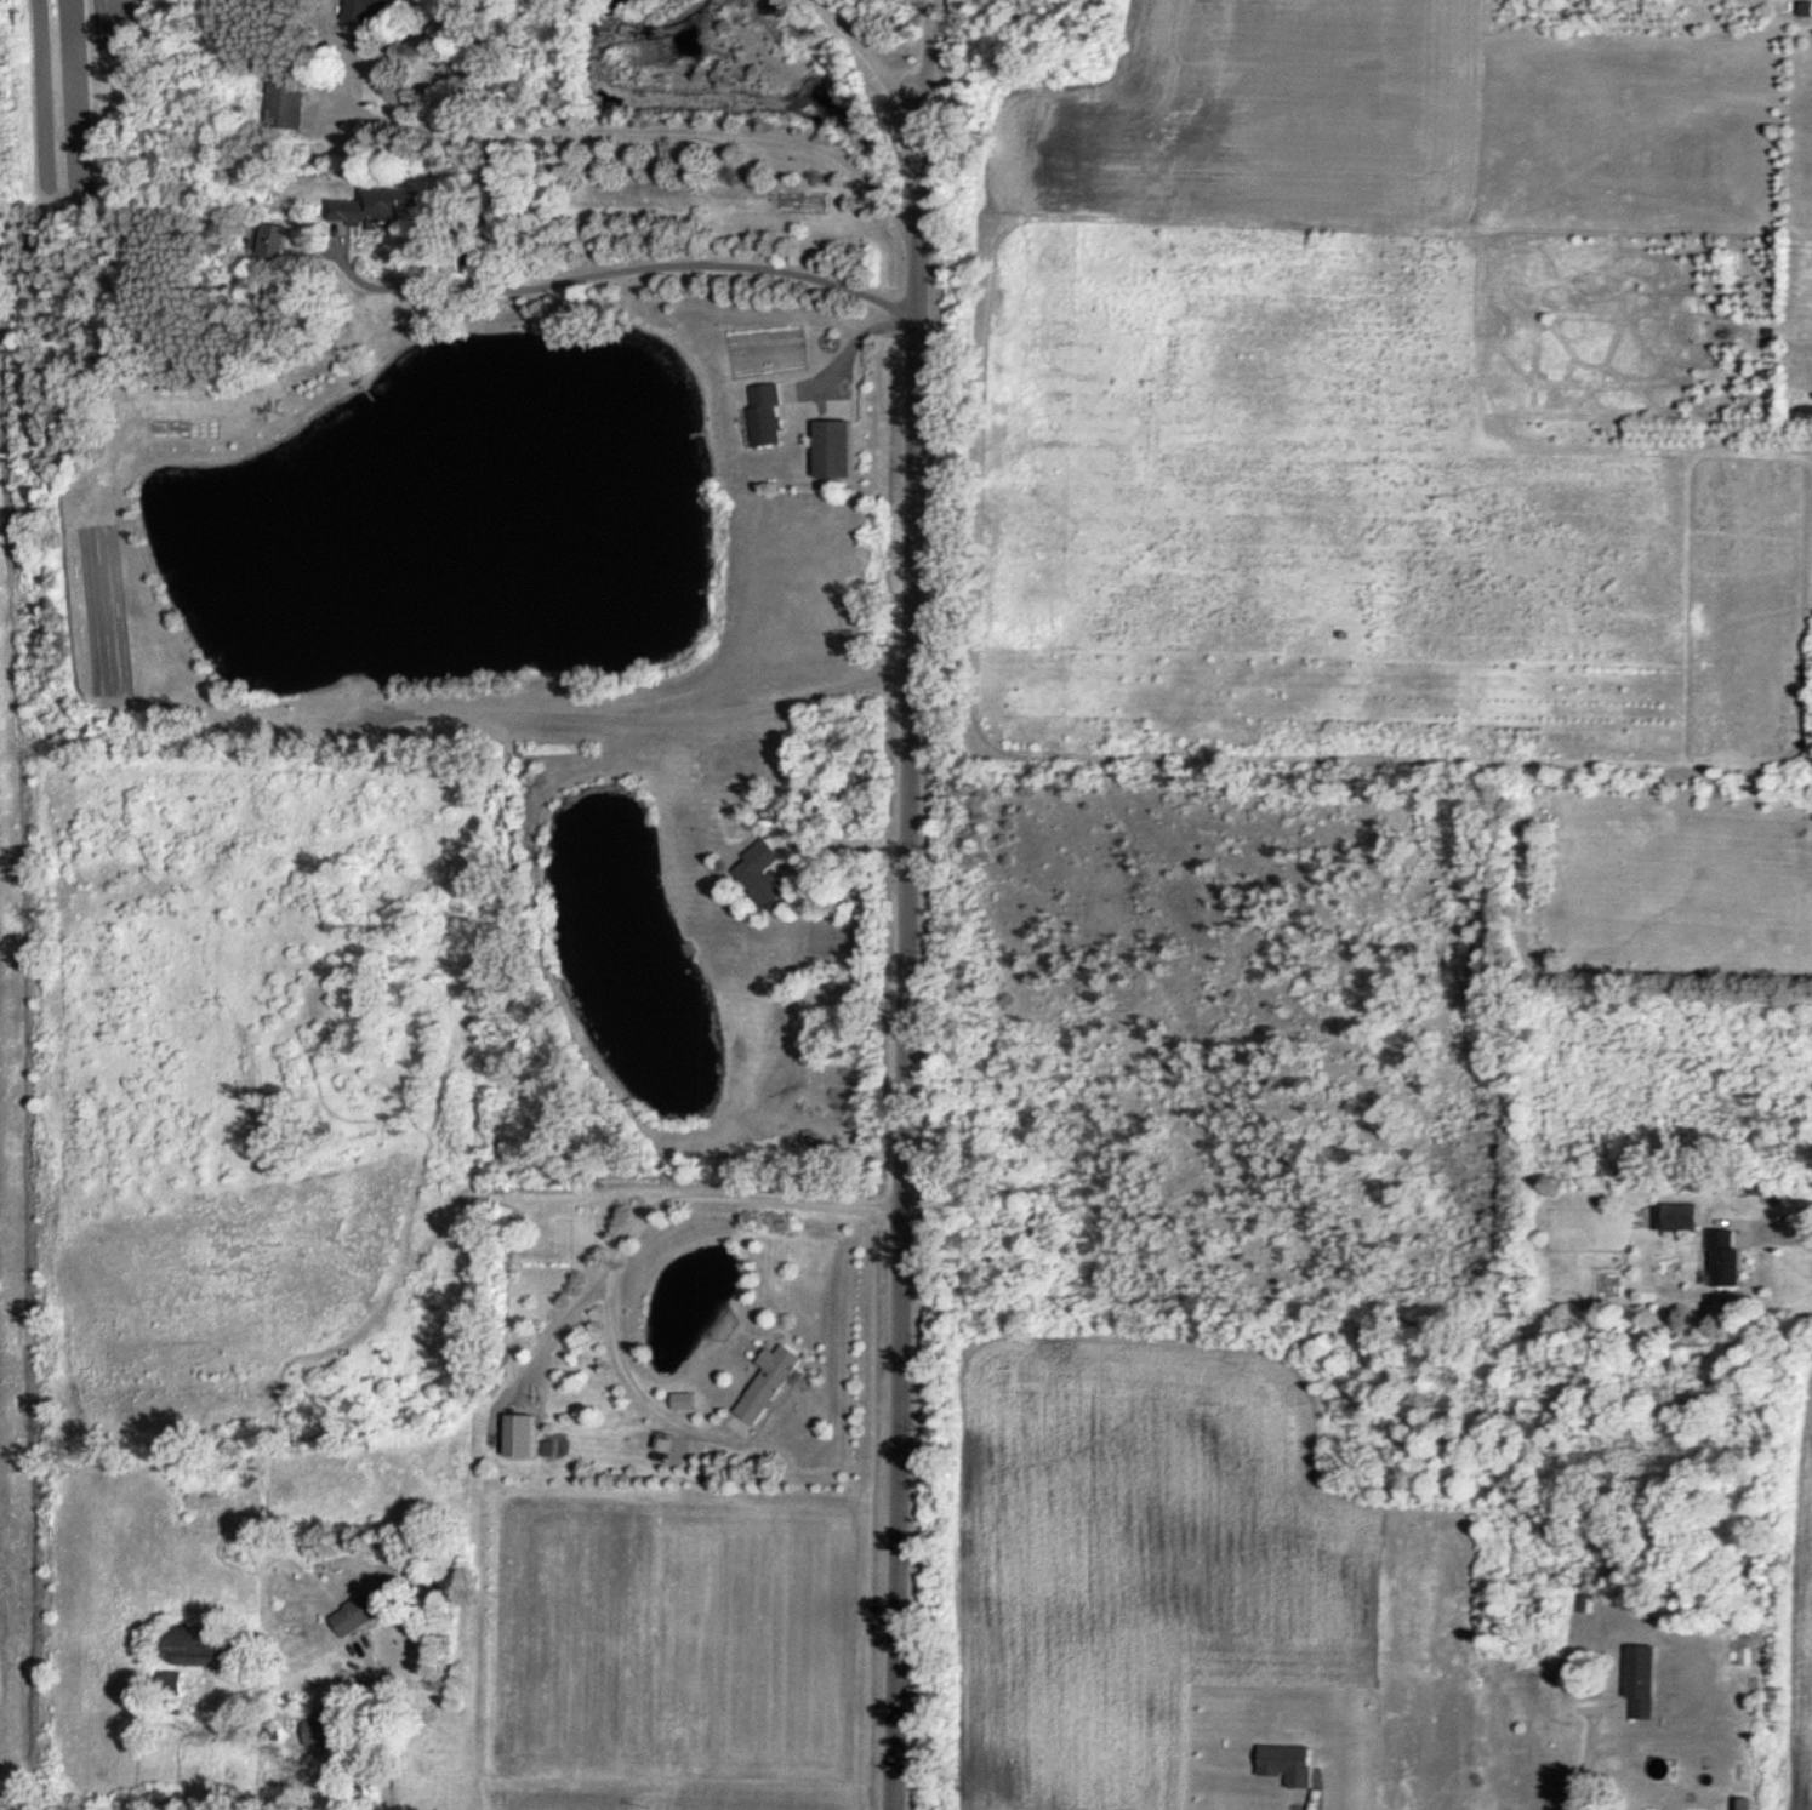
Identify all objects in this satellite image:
building: (383, 5)
road: (868, 57)
building: (291, 107)
crop: (1257, 119)
road: (657, 135)
building: (377, 210)
road: (623, 268)
road: (862, 333)
building: (779, 413)
building: (847, 449)
road: (665, 718)
building: (764, 883)
road: (906, 961)
building: (1686, 1217)
road: (629, 1228)
road: (1785, 1234)
building: (1731, 1251)
road: (555, 1330)
building: (773, 1382)
building: (526, 1435)
crop: (1193, 1593)
crop: (1800, 1595)
building: (372, 1609)
building: (212, 1648)
building: (1647, 1681)
road: (378, 1722)
building: (326, 1735)
road: (1580, 1749)
building: (1742, 1804)

